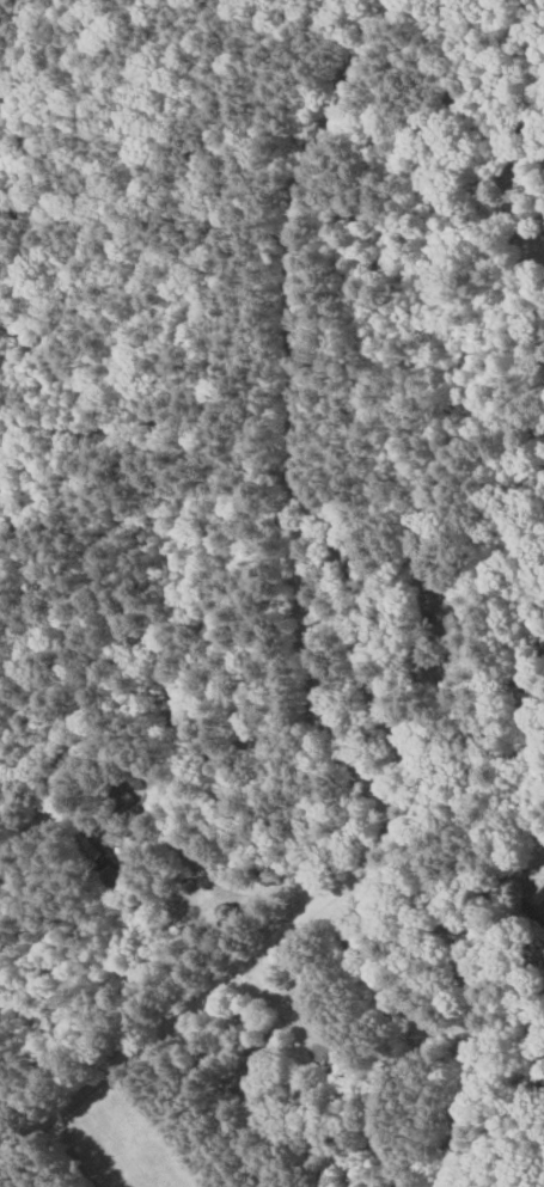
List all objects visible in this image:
road: (129, 438)
road: (306, 607)
road: (206, 869)
building: (539, 897)
road: (540, 914)
road: (202, 997)

